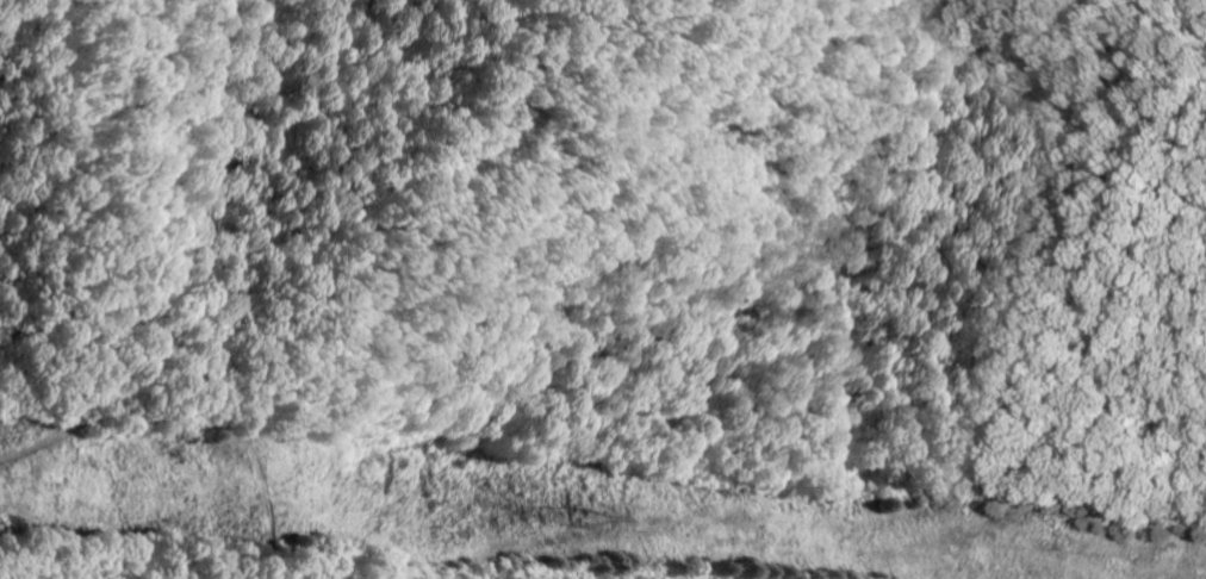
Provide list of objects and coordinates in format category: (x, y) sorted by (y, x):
power tower: (552, 522)

